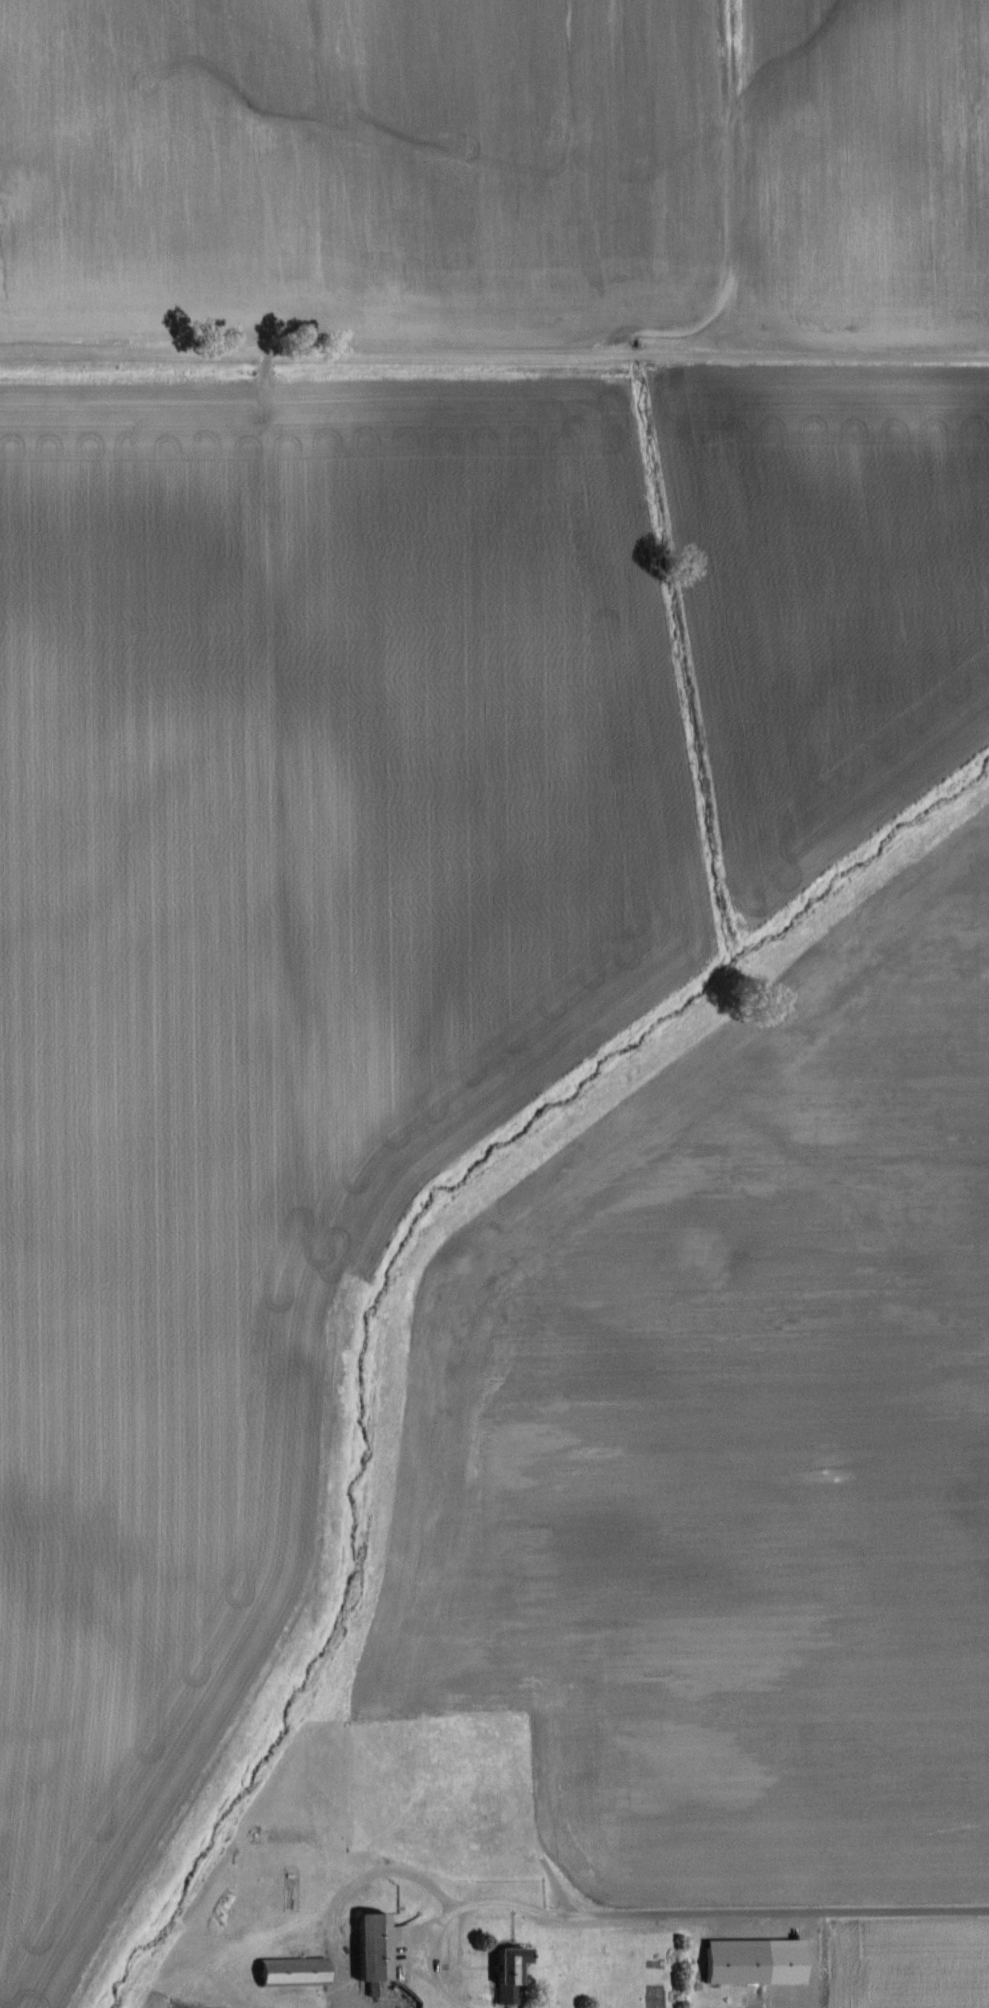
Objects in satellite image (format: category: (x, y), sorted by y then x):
road: (628, 355)
road: (727, 1909)
building: (374, 1950)
building: (755, 1961)
building: (295, 1972)

